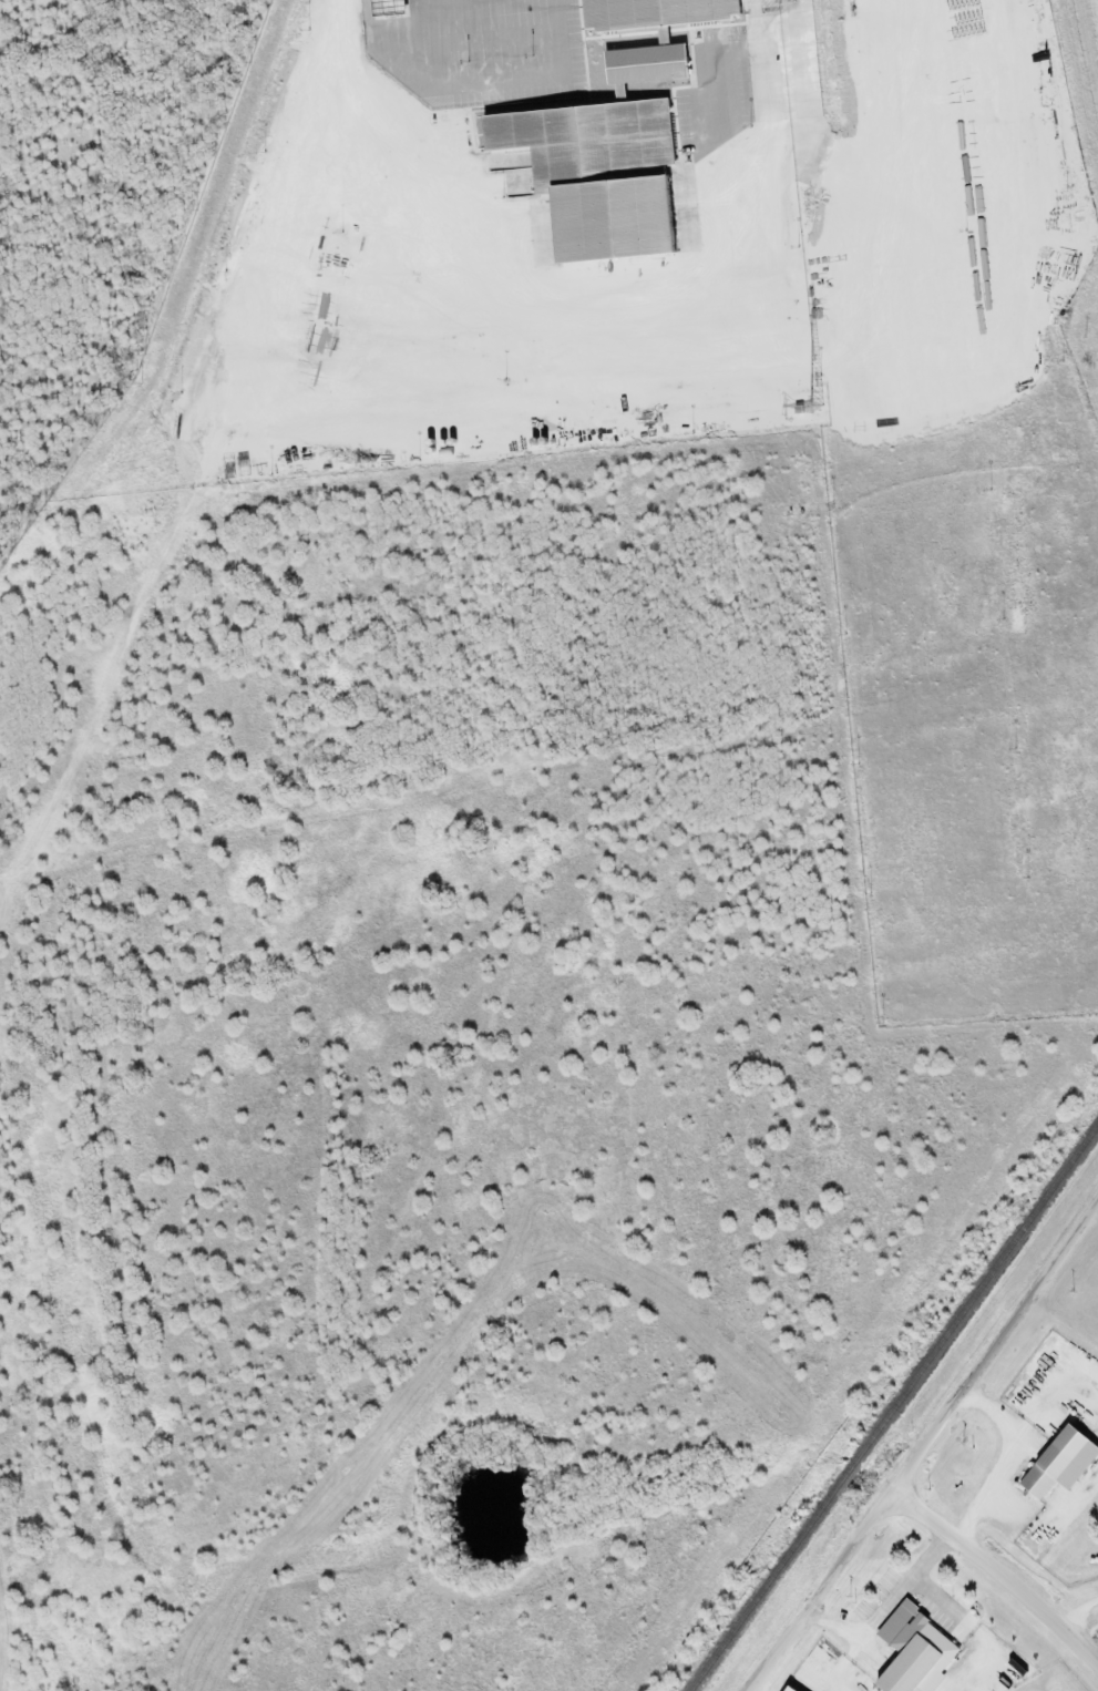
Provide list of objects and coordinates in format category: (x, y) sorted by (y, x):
building: (394, 7)
building: (657, 14)
building: (647, 66)
building: (602, 175)
railway: (894, 1406)
road: (926, 1448)
building: (1064, 1463)
road: (1002, 1574)
building: (917, 1652)
building: (793, 1689)

